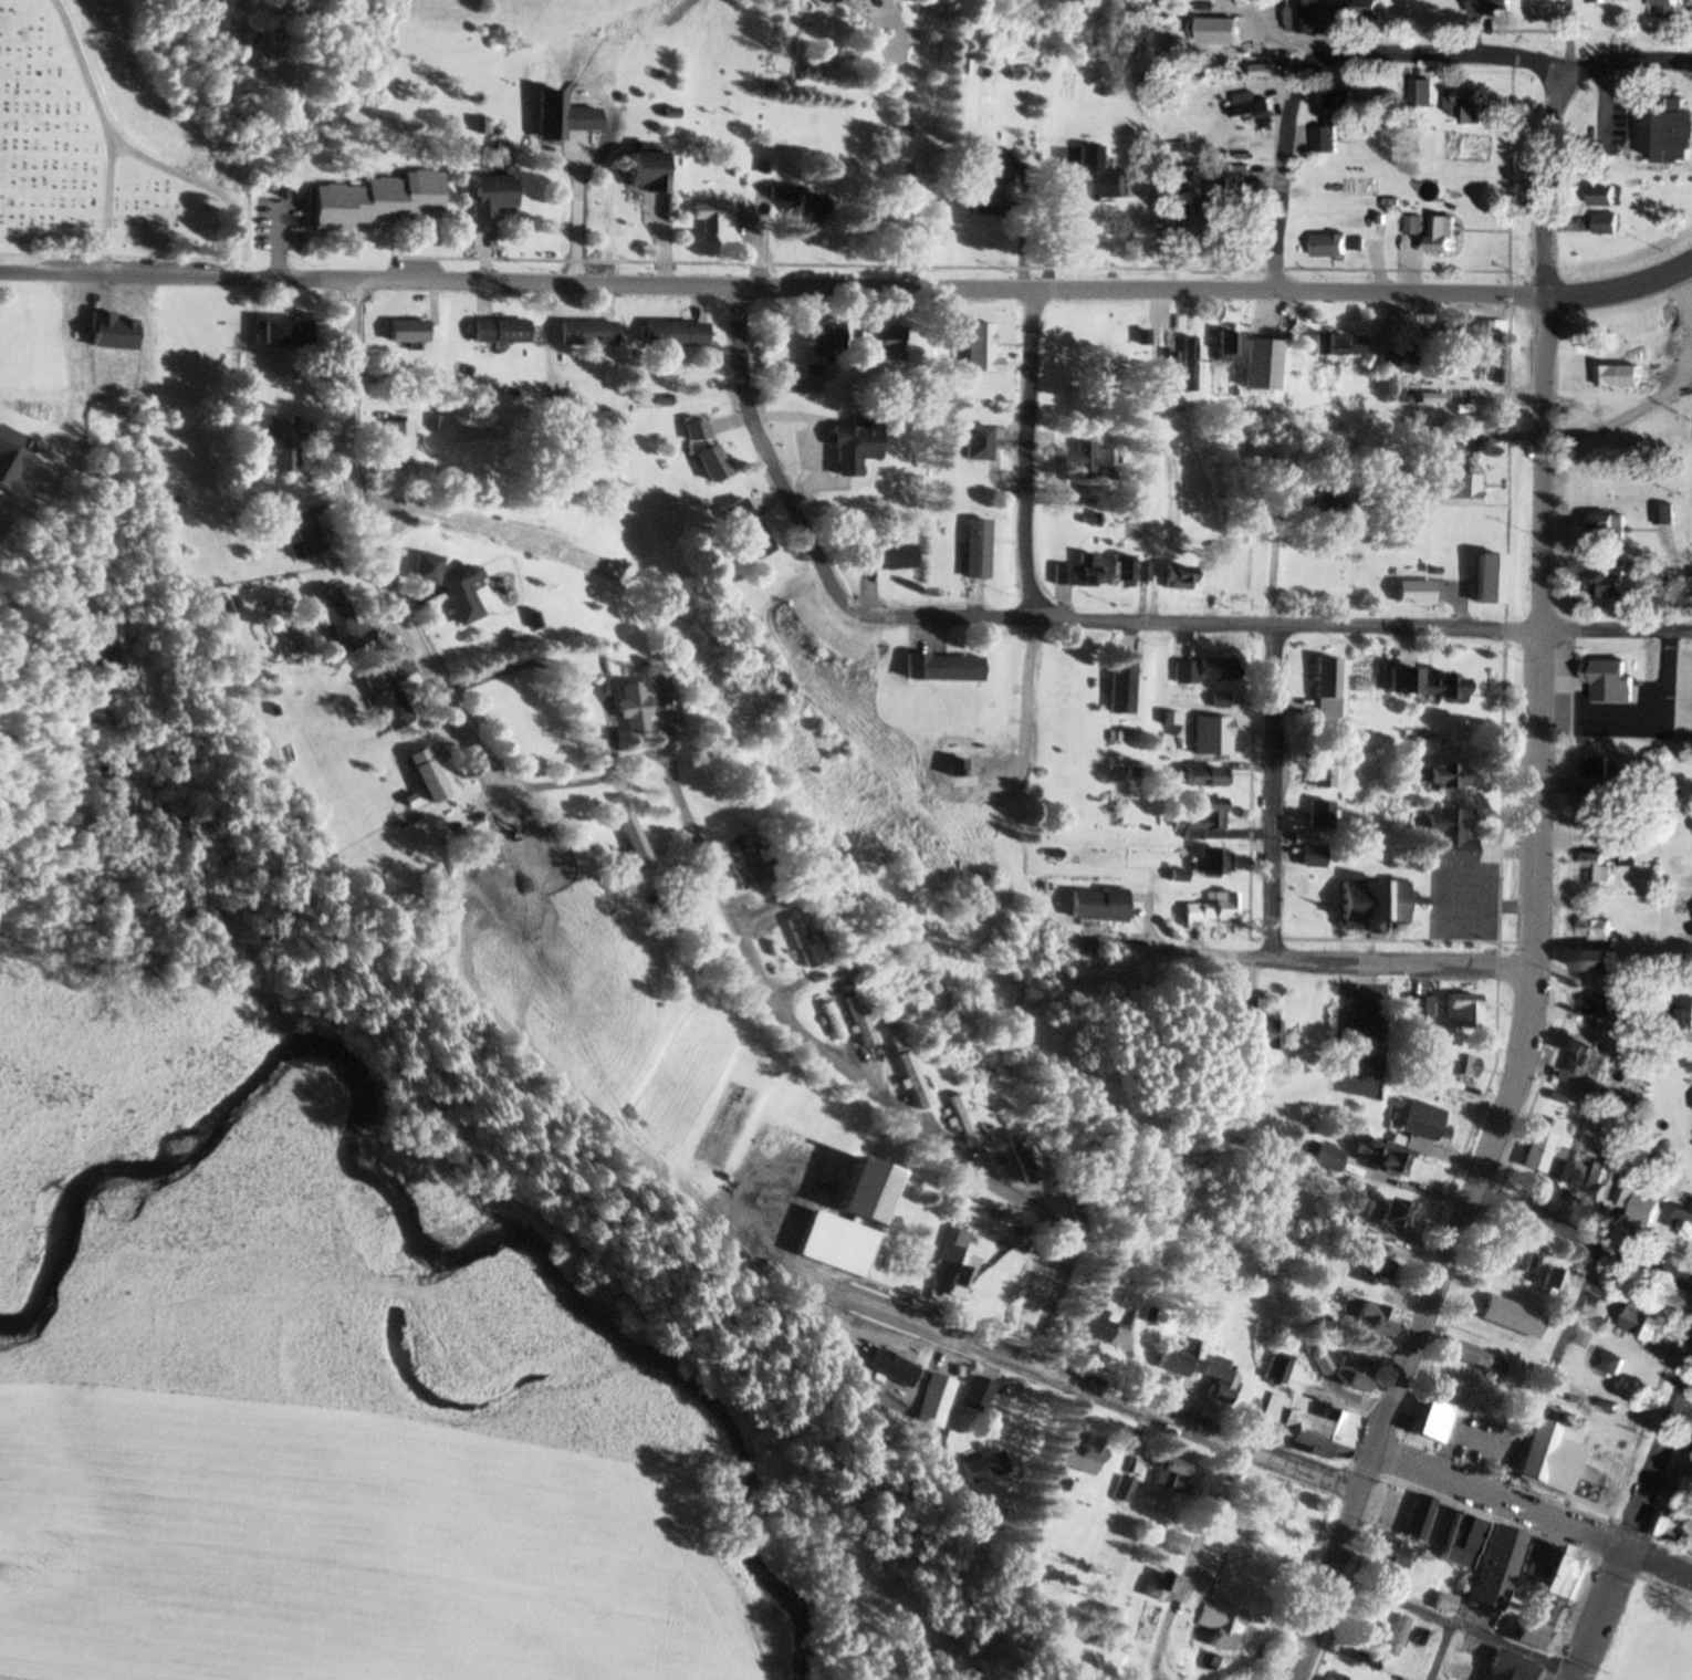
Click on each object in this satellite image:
building: (819, 1)
building: (1609, 1)
building: (1667, 2)
building: (1493, 7)
building: (1368, 11)
building: (1341, 12)
building: (1306, 15)
road: (1481, 53)
building: (1264, 70)
building: (1422, 92)
building: (1466, 104)
building: (1250, 105)
building: (1336, 119)
building: (1671, 129)
road: (907, 159)
park: (92, 161)
building: (644, 170)
building: (985, 182)
building: (489, 194)
building: (1606, 195)
building: (375, 201)
building: (1220, 201)
road: (1284, 201)
building: (797, 204)
building: (706, 215)
building: (1607, 223)
building: (1414, 225)
building: (1067, 232)
building: (1443, 233)
building: (1338, 243)
road: (847, 289)
building: (500, 330)
building: (403, 331)
building: (282, 332)
building: (583, 333)
building: (671, 333)
building: (1485, 335)
building: (1137, 337)
building: (816, 340)
building: (895, 344)
building: (1334, 344)
building: (1443, 345)
building: (1407, 346)
building: (1222, 347)
building: (979, 348)
building: (858, 354)
building: (1385, 358)
building: (1183, 364)
building: (1618, 379)
building: (1432, 398)
building: (696, 429)
building: (276, 444)
building: (850, 444)
building: (980, 444)
building: (395, 446)
building: (1074, 458)
road: (1026, 459)
building: (1101, 459)
building: (710, 462)
building: (1461, 491)
building: (1665, 514)
building: (1610, 525)
building: (302, 532)
building: (748, 532)
building: (971, 549)
road: (375, 555)
building: (882, 556)
building: (1116, 571)
building: (1136, 572)
building: (1070, 573)
building: (1172, 576)
building: (1484, 578)
building: (1619, 582)
building: (446, 588)
building: (1412, 592)
building: (334, 618)
road: (1092, 628)
building: (1181, 664)
building: (939, 667)
building: (1214, 668)
building: (1607, 671)
building: (1423, 684)
building: (1116, 686)
building: (1324, 688)
building: (385, 699)
building: (626, 707)
building: (1210, 738)
building: (1598, 766)
building: (1319, 772)
building: (425, 774)
building: (1434, 775)
building: (1200, 776)
road: (1273, 795)
building: (1316, 815)
building: (1195, 820)
building: (1594, 820)
building: (1445, 837)
building: (627, 841)
building: (1307, 857)
building: (1629, 857)
building: (1205, 863)
building: (727, 865)
building: (1598, 868)
road: (1533, 897)
building: (683, 898)
road: (646, 905)
building: (1094, 905)
building: (1369, 905)
building: (1208, 909)
building: (1597, 929)
building: (794, 946)
building: (764, 950)
road: (1337, 961)
building: (1597, 961)
building: (1602, 1009)
building: (1459, 1011)
building: (1414, 1014)
building: (1685, 1016)
building: (826, 1021)
building: (852, 1022)
building: (1243, 1026)
road: (804, 1037)
building: (1575, 1056)
building: (1453, 1065)
building: (905, 1081)
building: (953, 1120)
building: (1424, 1124)
building: (1379, 1157)
building: (1007, 1158)
building: (1324, 1158)
building: (1535, 1158)
building: (1595, 1181)
building: (1642, 1208)
building: (1387, 1214)
building: (1334, 1215)
building: (839, 1221)
building: (1686, 1224)
road: (1583, 1241)
building: (738, 1248)
building: (1497, 1256)
building: (949, 1262)
building: (1371, 1272)
building: (1546, 1282)
building: (1022, 1293)
building: (1474, 1314)
building: (1372, 1319)
building: (1317, 1321)
building: (1647, 1323)
building: (1089, 1327)
building: (1471, 1359)
building: (1320, 1360)
building: (1169, 1365)
building: (1613, 1366)
building: (1274, 1371)
building: (1352, 1376)
road: (1546, 1376)
building: (1216, 1381)
road: (1095, 1390)
building: (972, 1395)
building: (1431, 1422)
building: (1305, 1425)
building: (1537, 1450)
building: (1073, 1457)
building: (976, 1468)
building: (1167, 1476)
building: (1597, 1482)
road: (1500, 1506)
building: (985, 1511)
building: (1265, 1512)
building: (1673, 1527)
building: (1440, 1532)
road: (1636, 1532)
road: (1210, 1536)
building: (1170, 1545)
building: (1388, 1552)
road: (1660, 1565)
building: (1494, 1571)
building: (1152, 1587)
road: (1463, 1593)
building: (1550, 1596)
building: (1442, 1604)
road: (1454, 1625)
building: (1214, 1626)
building: (1365, 1626)
park: (1650, 1634)
building: (1350, 1658)
building: (1512, 1669)

